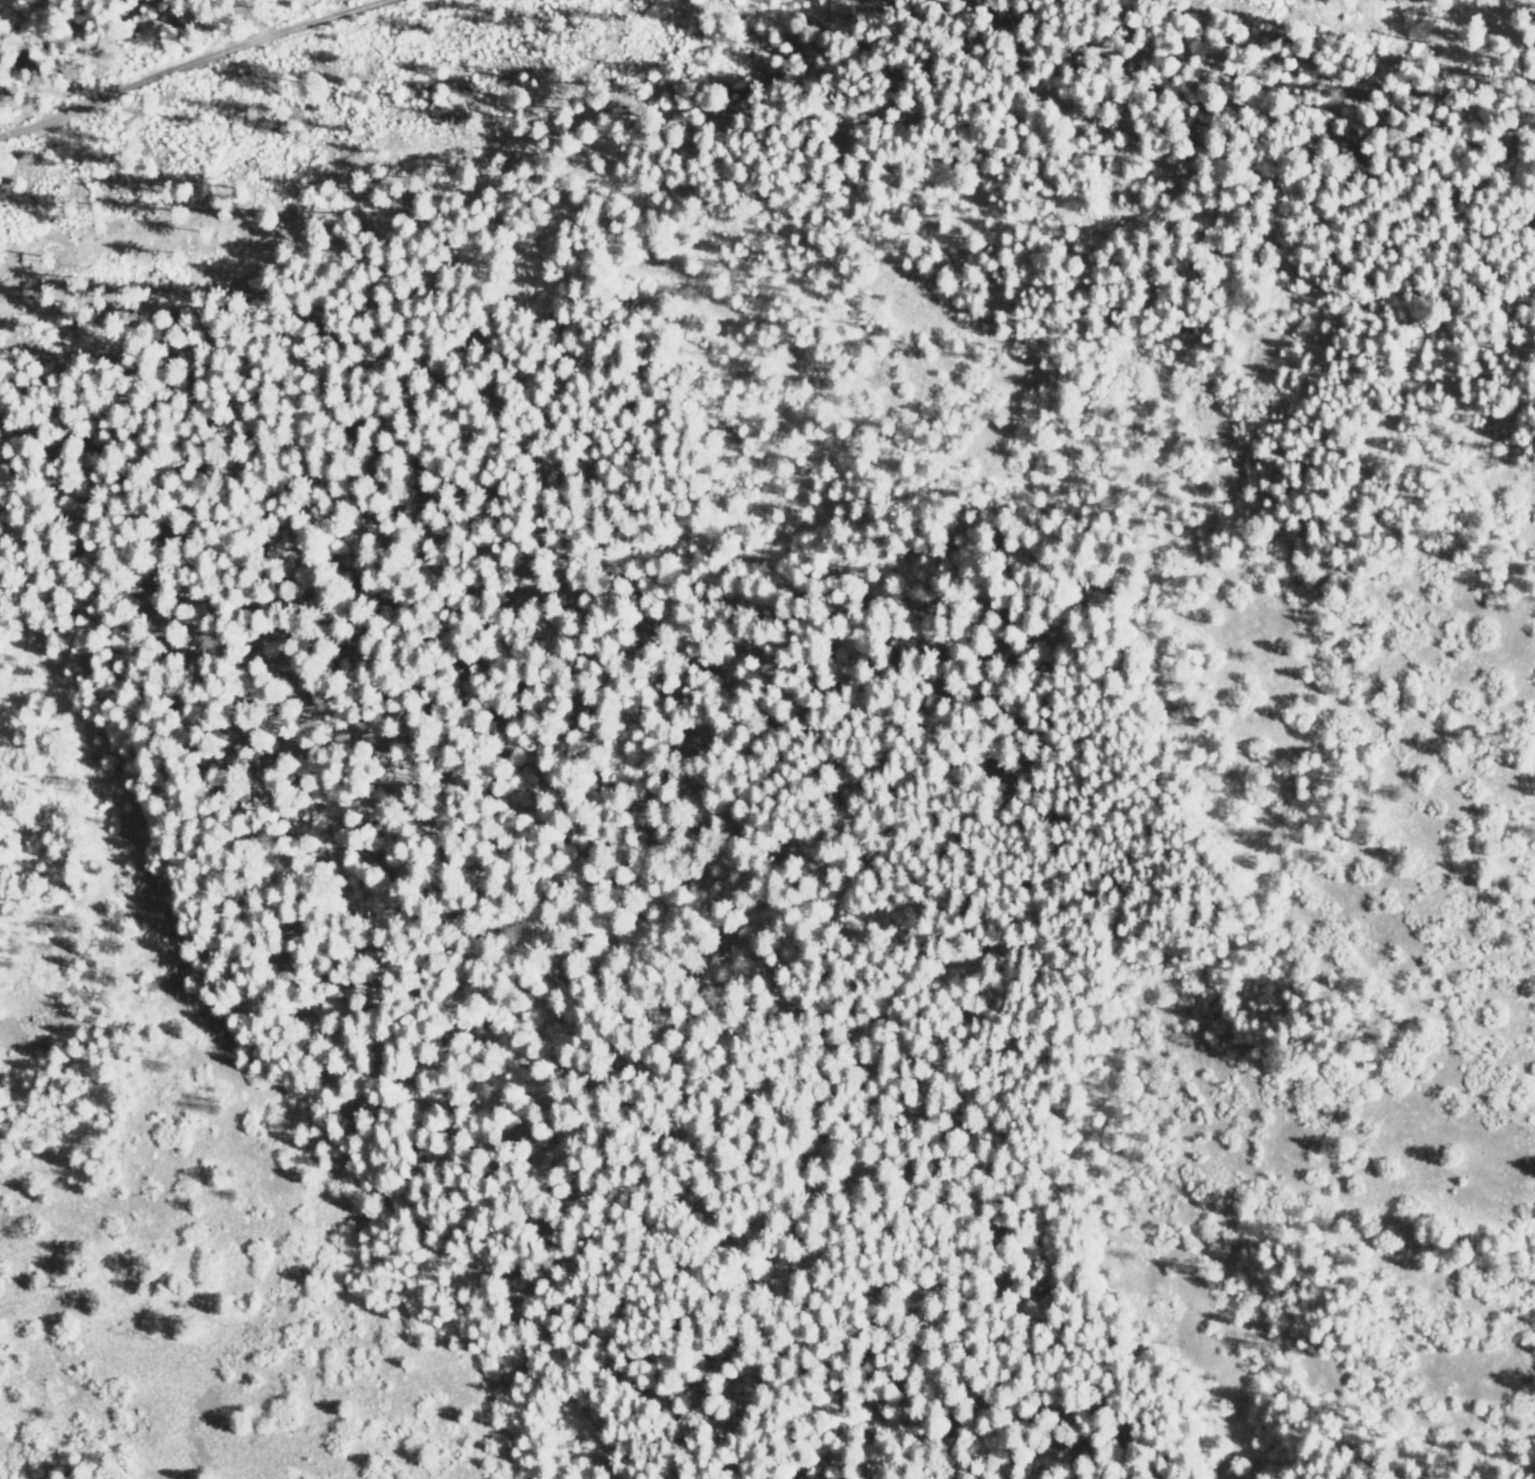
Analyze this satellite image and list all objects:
road: (189, 64)

